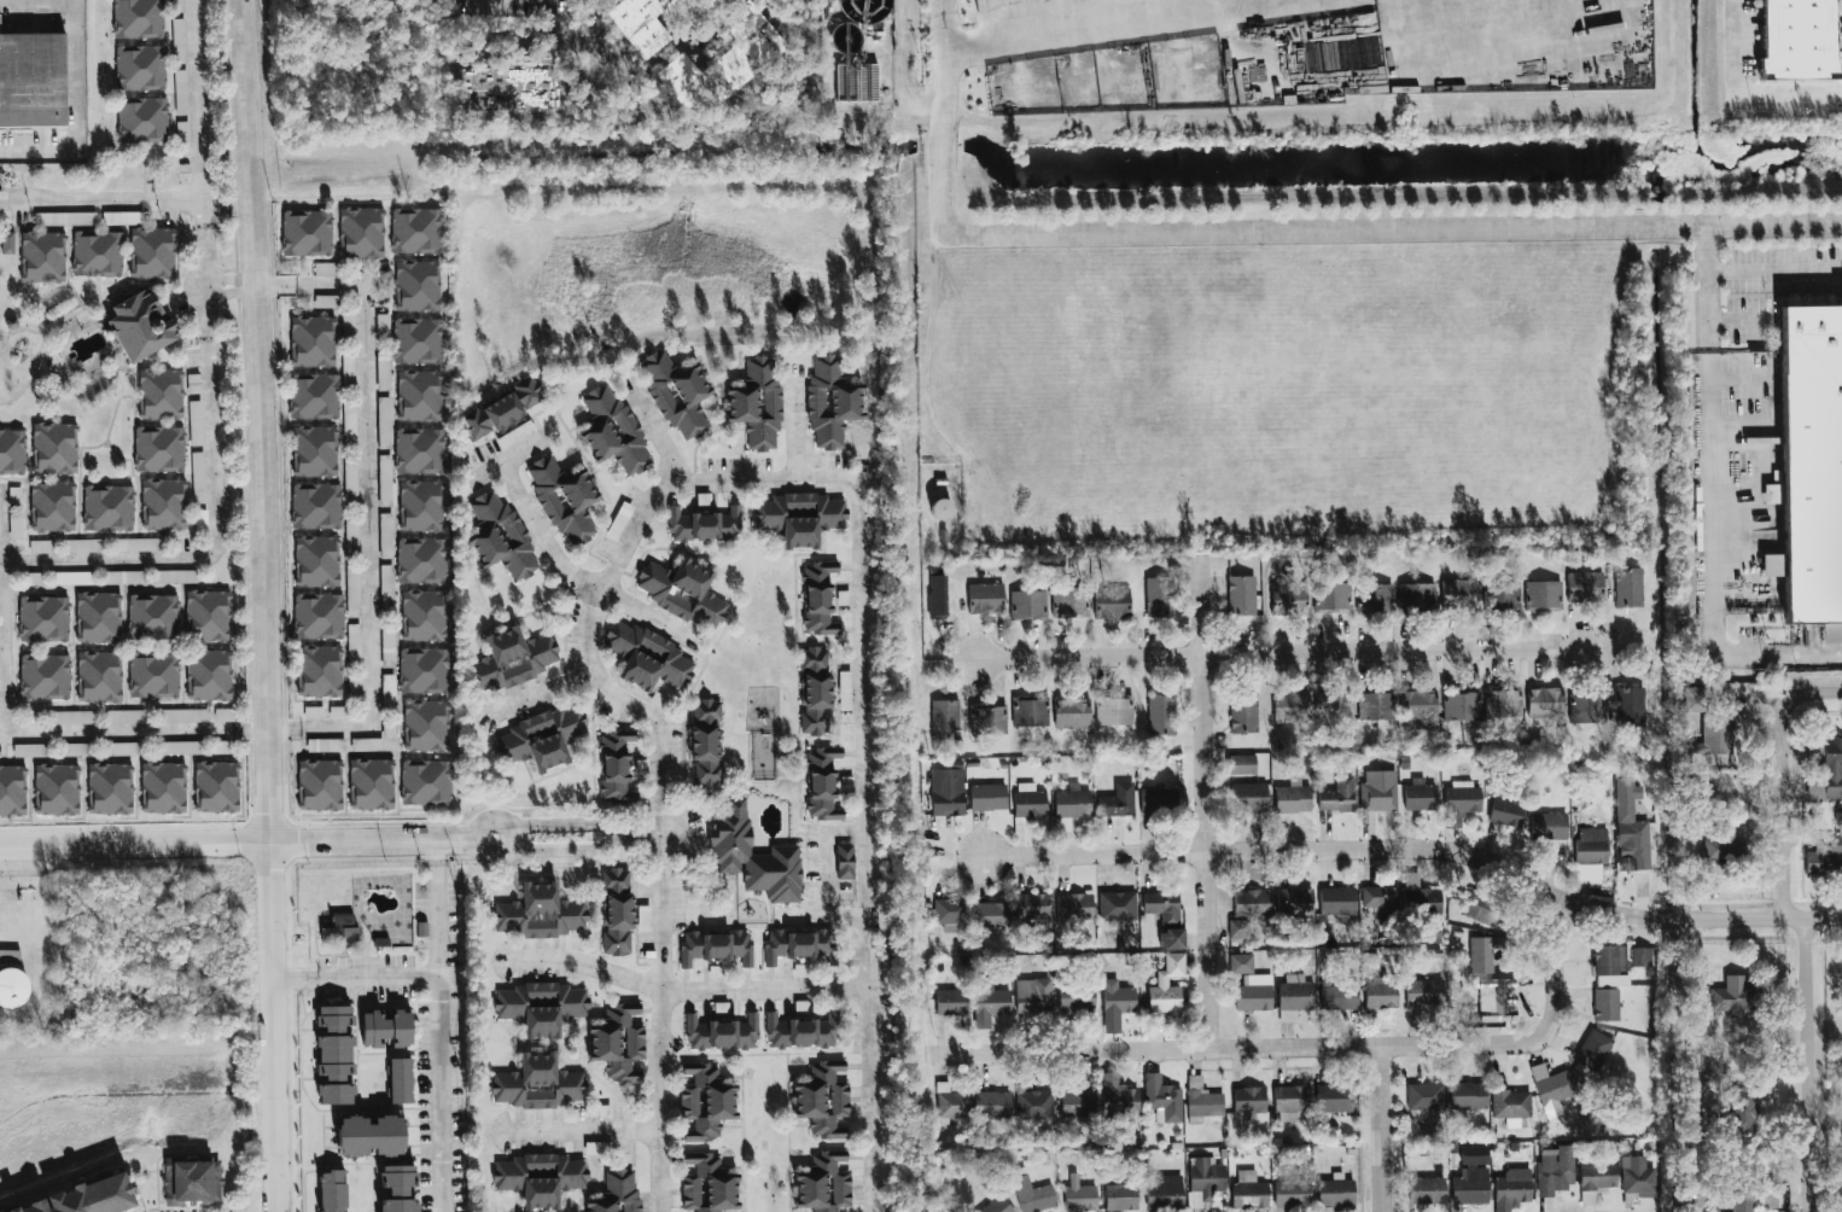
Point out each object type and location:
road: (559, 1)
road: (461, 5)
building: (135, 19)
road: (1129, 23)
building: (1797, 39)
building: (138, 69)
road: (903, 72)
building: (33, 78)
road: (1749, 87)
road: (76, 107)
building: (140, 121)
road: (105, 199)
building: (414, 231)
building: (359, 232)
road: (1272, 232)
building: (304, 233)
building: (5, 243)
building: (150, 252)
building: (94, 254)
building: (40, 256)
road: (1774, 269)
building: (415, 285)
road: (1708, 287)
building: (323, 301)
road: (1738, 321)
building: (136, 324)
building: (310, 340)
building: (415, 340)
road: (208, 381)
building: (675, 392)
building: (158, 394)
building: (311, 396)
building: (416, 396)
building: (756, 402)
building: (830, 402)
building: (500, 408)
building: (348, 419)
road: (795, 423)
building: (611, 430)
road: (363, 431)
building: (52, 448)
building: (157, 449)
building: (313, 450)
building: (418, 450)
building: (11, 451)
road: (513, 455)
building: (1811, 461)
building: (384, 480)
building: (561, 500)
building: (161, 503)
building: (49, 506)
building: (314, 506)
building: (419, 506)
building: (106, 507)
building: (940, 509)
building: (799, 517)
building: (704, 525)
building: (499, 537)
building: (135, 544)
building: (82, 546)
building: (419, 560)
road: (1713, 560)
building: (315, 561)
road: (578, 576)
building: (123, 577)
building: (174, 577)
building: (1584, 585)
building: (1627, 587)
building: (1458, 588)
building: (680, 592)
building: (1241, 594)
building: (1543, 594)
building: (1502, 595)
building: (1333, 596)
building: (1418, 596)
building: (816, 598)
building: (985, 598)
building: (1159, 598)
building: (1374, 598)
building: (1290, 600)
building: (1071, 602)
building: (1113, 602)
building: (1027, 604)
road: (268, 605)
building: (352, 605)
building: (937, 607)
building: (152, 616)
building: (208, 616)
building: (319, 616)
building: (424, 616)
building: (98, 617)
building: (43, 619)
building: (354, 642)
building: (389, 648)
road: (1292, 652)
building: (648, 657)
building: (513, 658)
building: (424, 669)
road: (1, 670)
building: (320, 670)
building: (209, 674)
building: (99, 675)
building: (153, 675)
building: (45, 676)
building: (845, 689)
building: (814, 691)
road: (542, 692)
road: (1817, 693)
building: (659, 699)
building: (1545, 701)
building: (1503, 703)
building: (1376, 705)
building: (1418, 705)
building: (1462, 705)
road: (862, 706)
building: (1290, 706)
building: (1631, 706)
building: (1336, 707)
building: (1587, 709)
building: (314, 711)
building: (1114, 711)
building: (1031, 712)
building: (1072, 712)
building: (1243, 712)
building: (183, 713)
building: (126, 715)
building: (1160, 715)
building: (75, 716)
building: (945, 717)
building: (989, 719)
building: (426, 724)
building: (1709, 724)
road: (186, 732)
building: (541, 738)
building: (705, 742)
building: (326, 744)
building: (368, 744)
building: (182, 746)
building: (33, 748)
building: (76, 748)
building: (122, 748)
building: (1241, 764)
building: (616, 767)
building: (1826, 769)
building: (426, 781)
building: (820, 782)
building: (372, 783)
building: (320, 785)
building: (216, 786)
building: (110, 787)
building: (163, 787)
building: (57, 788)
building: (12, 789)
building: (946, 792)
building: (1378, 794)
building: (1337, 796)
building: (1626, 796)
building: (986, 797)
building: (1421, 797)
building: (1117, 798)
building: (1247, 798)
building: (1292, 798)
building: (1158, 800)
building: (1030, 803)
building: (1073, 803)
building: (1461, 804)
road: (1206, 806)
road: (1783, 808)
building: (1505, 811)
road: (661, 814)
building: (1691, 823)
road: (480, 824)
road: (569, 826)
building: (1549, 826)
road: (645, 837)
road: (457, 839)
road: (220, 843)
building: (1637, 844)
building: (1592, 845)
road: (1420, 849)
road: (570, 850)
building: (1721, 850)
building: (752, 856)
building: (843, 861)
building: (1824, 862)
road: (829, 875)
building: (1381, 898)
building: (1421, 898)
building: (1296, 901)
building: (1337, 901)
building: (1252, 902)
building: (1118, 905)
building: (1162, 905)
building: (1032, 907)
building: (1076, 907)
building: (1481, 908)
building: (950, 910)
building: (617, 911)
building: (540, 913)
building: (990, 914)
building: (643, 917)
building: (1238, 928)
building: (340, 930)
building: (1171, 938)
building: (794, 944)
building: (715, 946)
building: (1481, 955)
building: (1642, 957)
building: (1608, 961)
building: (11, 977)
road: (357, 978)
building: (1251, 984)
building: (1167, 986)
road: (689, 990)
building: (1340, 992)
building: (1424, 992)
building: (1500, 994)
building: (1381, 995)
building: (1034, 996)
building: (1118, 996)
building: (1296, 996)
building: (1737, 997)
building: (1076, 998)
building: (950, 1002)
building: (1607, 1002)
building: (990, 1003)
building: (541, 1006)
building: (1287, 1016)
road: (443, 1025)
building: (387, 1029)
building: (801, 1031)
building: (721, 1033)
building: (618, 1042)
building: (1595, 1048)
road: (1352, 1049)
building: (336, 1054)
road: (973, 1054)
road: (1807, 1066)
building: (401, 1079)
building: (538, 1083)
building: (1554, 1088)
building: (1468, 1095)
building: (1162, 1097)
building: (1333, 1097)
building: (1426, 1097)
building: (821, 1099)
building: (1290, 1099)
building: (1118, 1100)
building: (1249, 1100)
building: (704, 1101)
building: (1076, 1103)
building: (1206, 1103)
building: (1511, 1103)
building: (954, 1105)
building: (993, 1105)
building: (1037, 1105)
building: (1743, 1108)
road: (587, 1130)
road: (1380, 1130)
building: (371, 1136)
building: (1555, 1170)
building: (1638, 1176)
building: (540, 1177)
building: (1598, 1177)
building: (1205, 1178)
building: (192, 1182)
building: (822, 1182)
building: (705, 1183)
building: (397, 1187)
building: (1290, 1187)
building: (1251, 1188)
building: (1470, 1188)
building: (1078, 1189)
building: (1511, 1189)
building: (332, 1190)
building: (1427, 1190)
building: (1165, 1191)
building: (618, 1193)
building: (1335, 1193)
building: (1033, 1195)
building: (1120, 1195)
building: (1695, 1196)
building: (86, 1198)
building: (996, 1206)
building: (1750, 1206)

